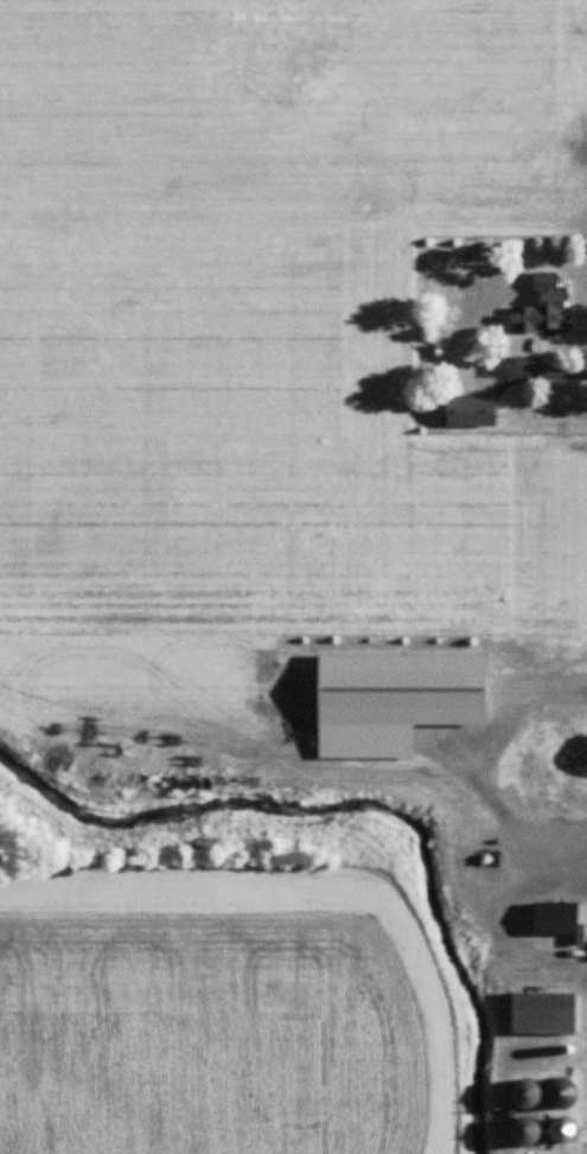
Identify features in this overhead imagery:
building: (541, 314)
road: (532, 369)
building: (470, 410)
road: (478, 769)
road: (568, 859)
building: (559, 919)
road: (503, 931)
building: (543, 1013)
building: (524, 1092)
building: (560, 1092)
building: (523, 1131)
building: (561, 1131)

